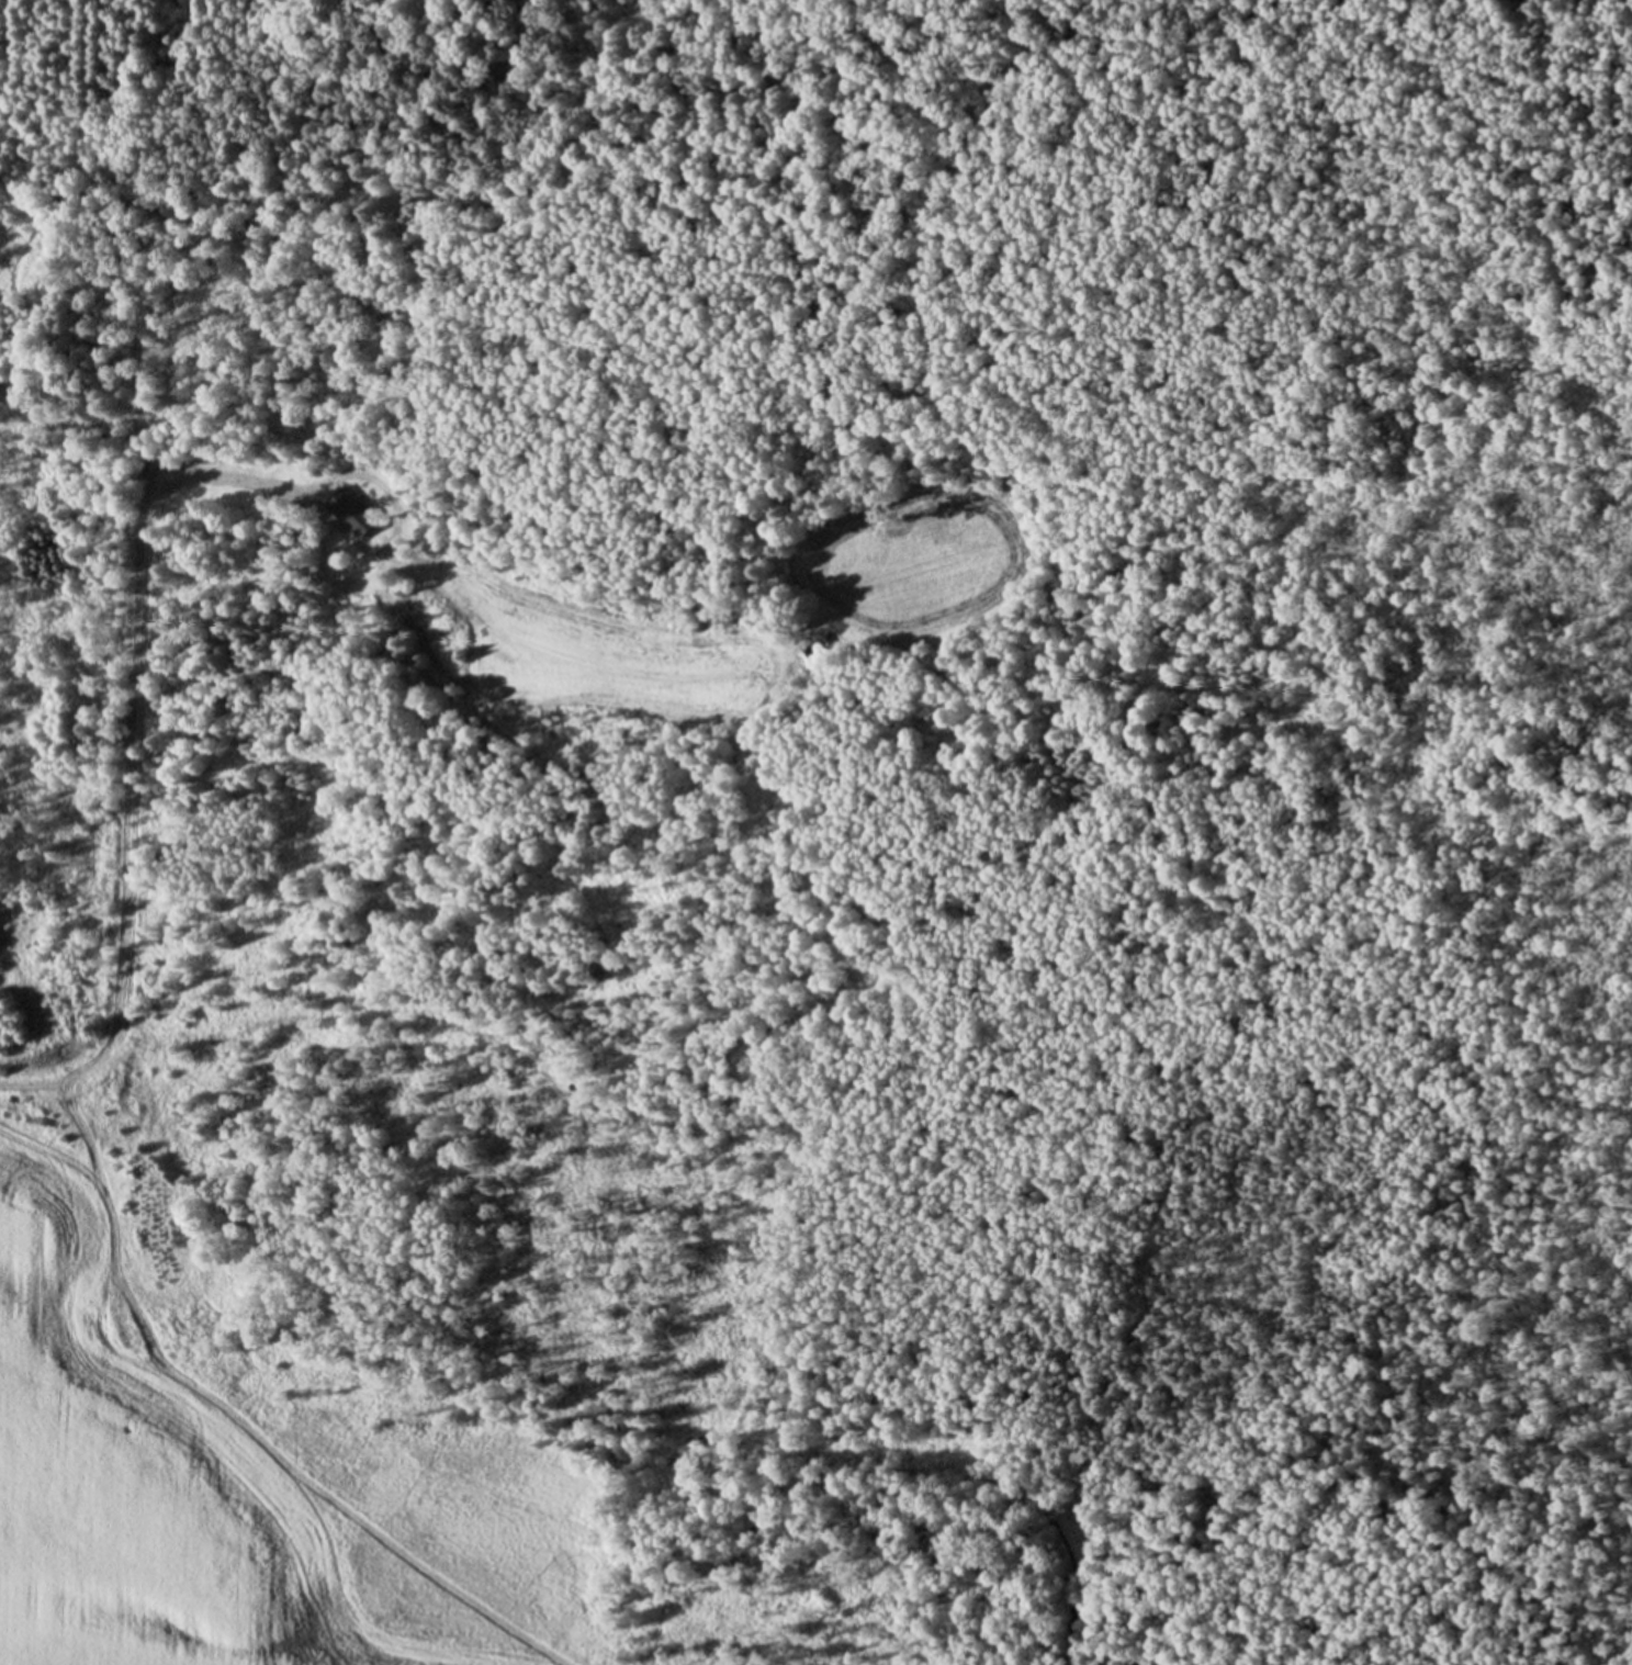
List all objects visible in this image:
road: (126, 432)
building: (361, 515)

